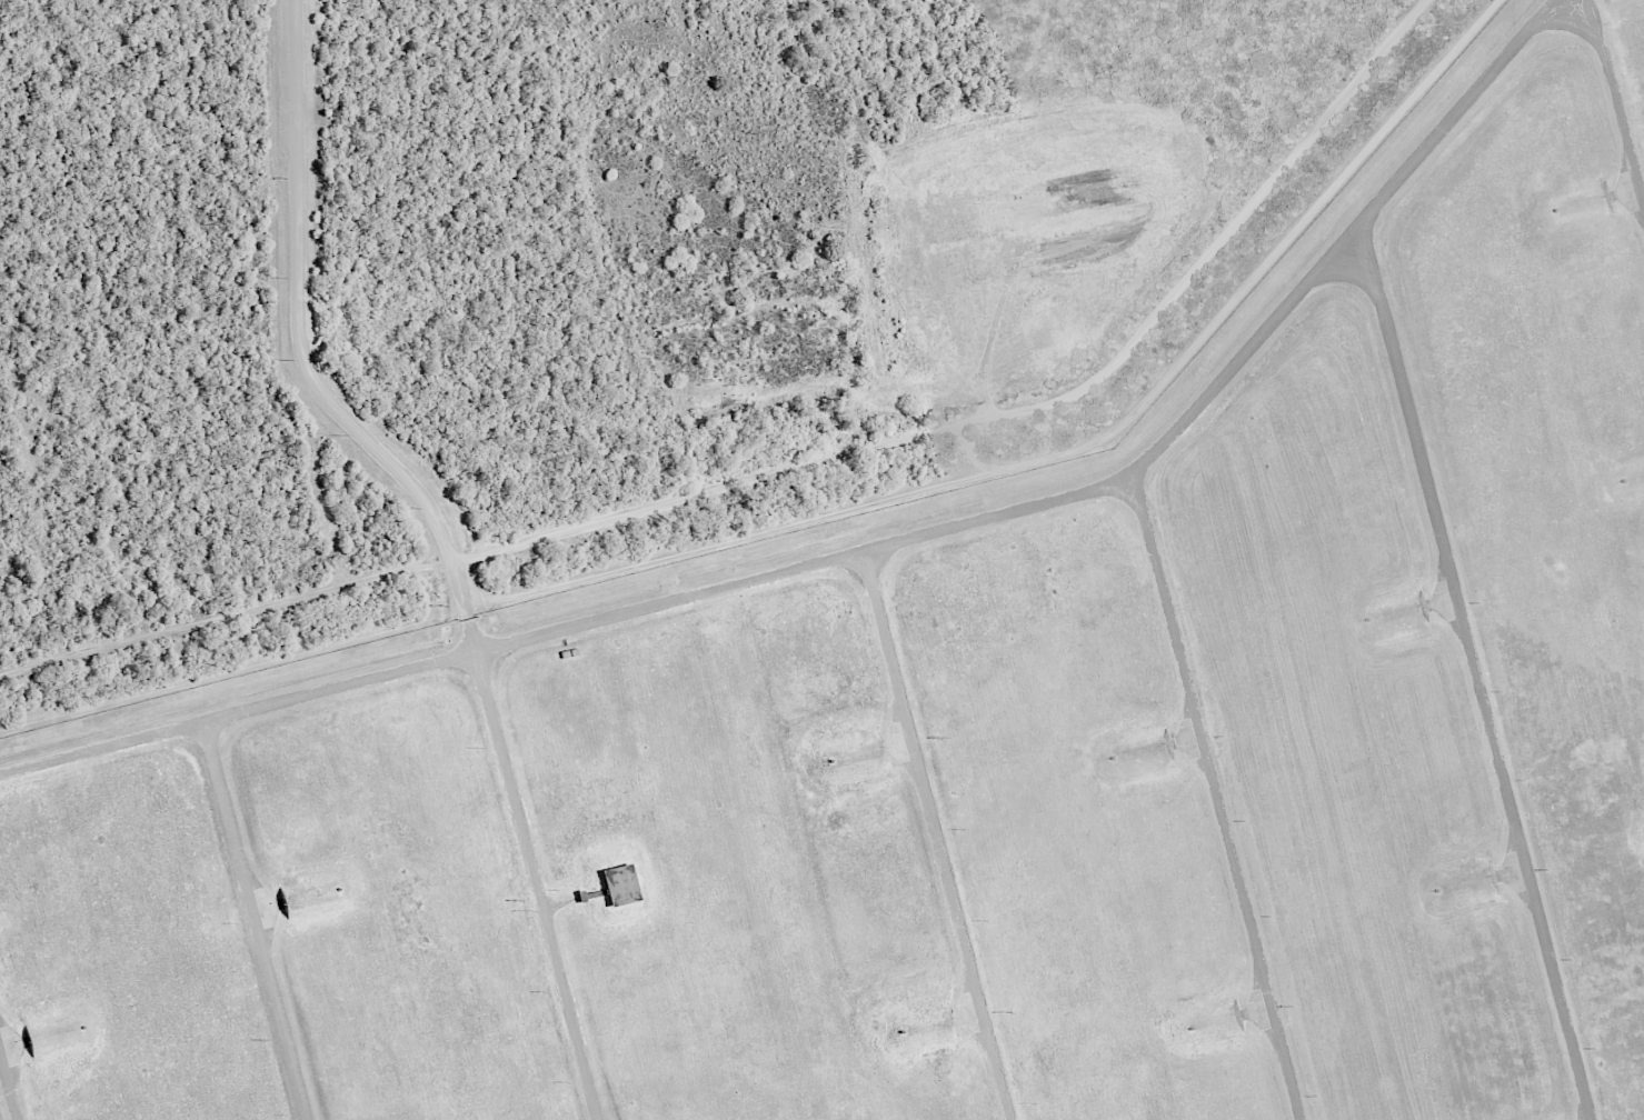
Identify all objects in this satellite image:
road: (1616, 96)
road: (448, 542)
road: (876, 549)
road: (1477, 677)
road: (1218, 797)
road: (938, 836)
building: (618, 884)
road: (256, 921)
road: (8, 1086)

